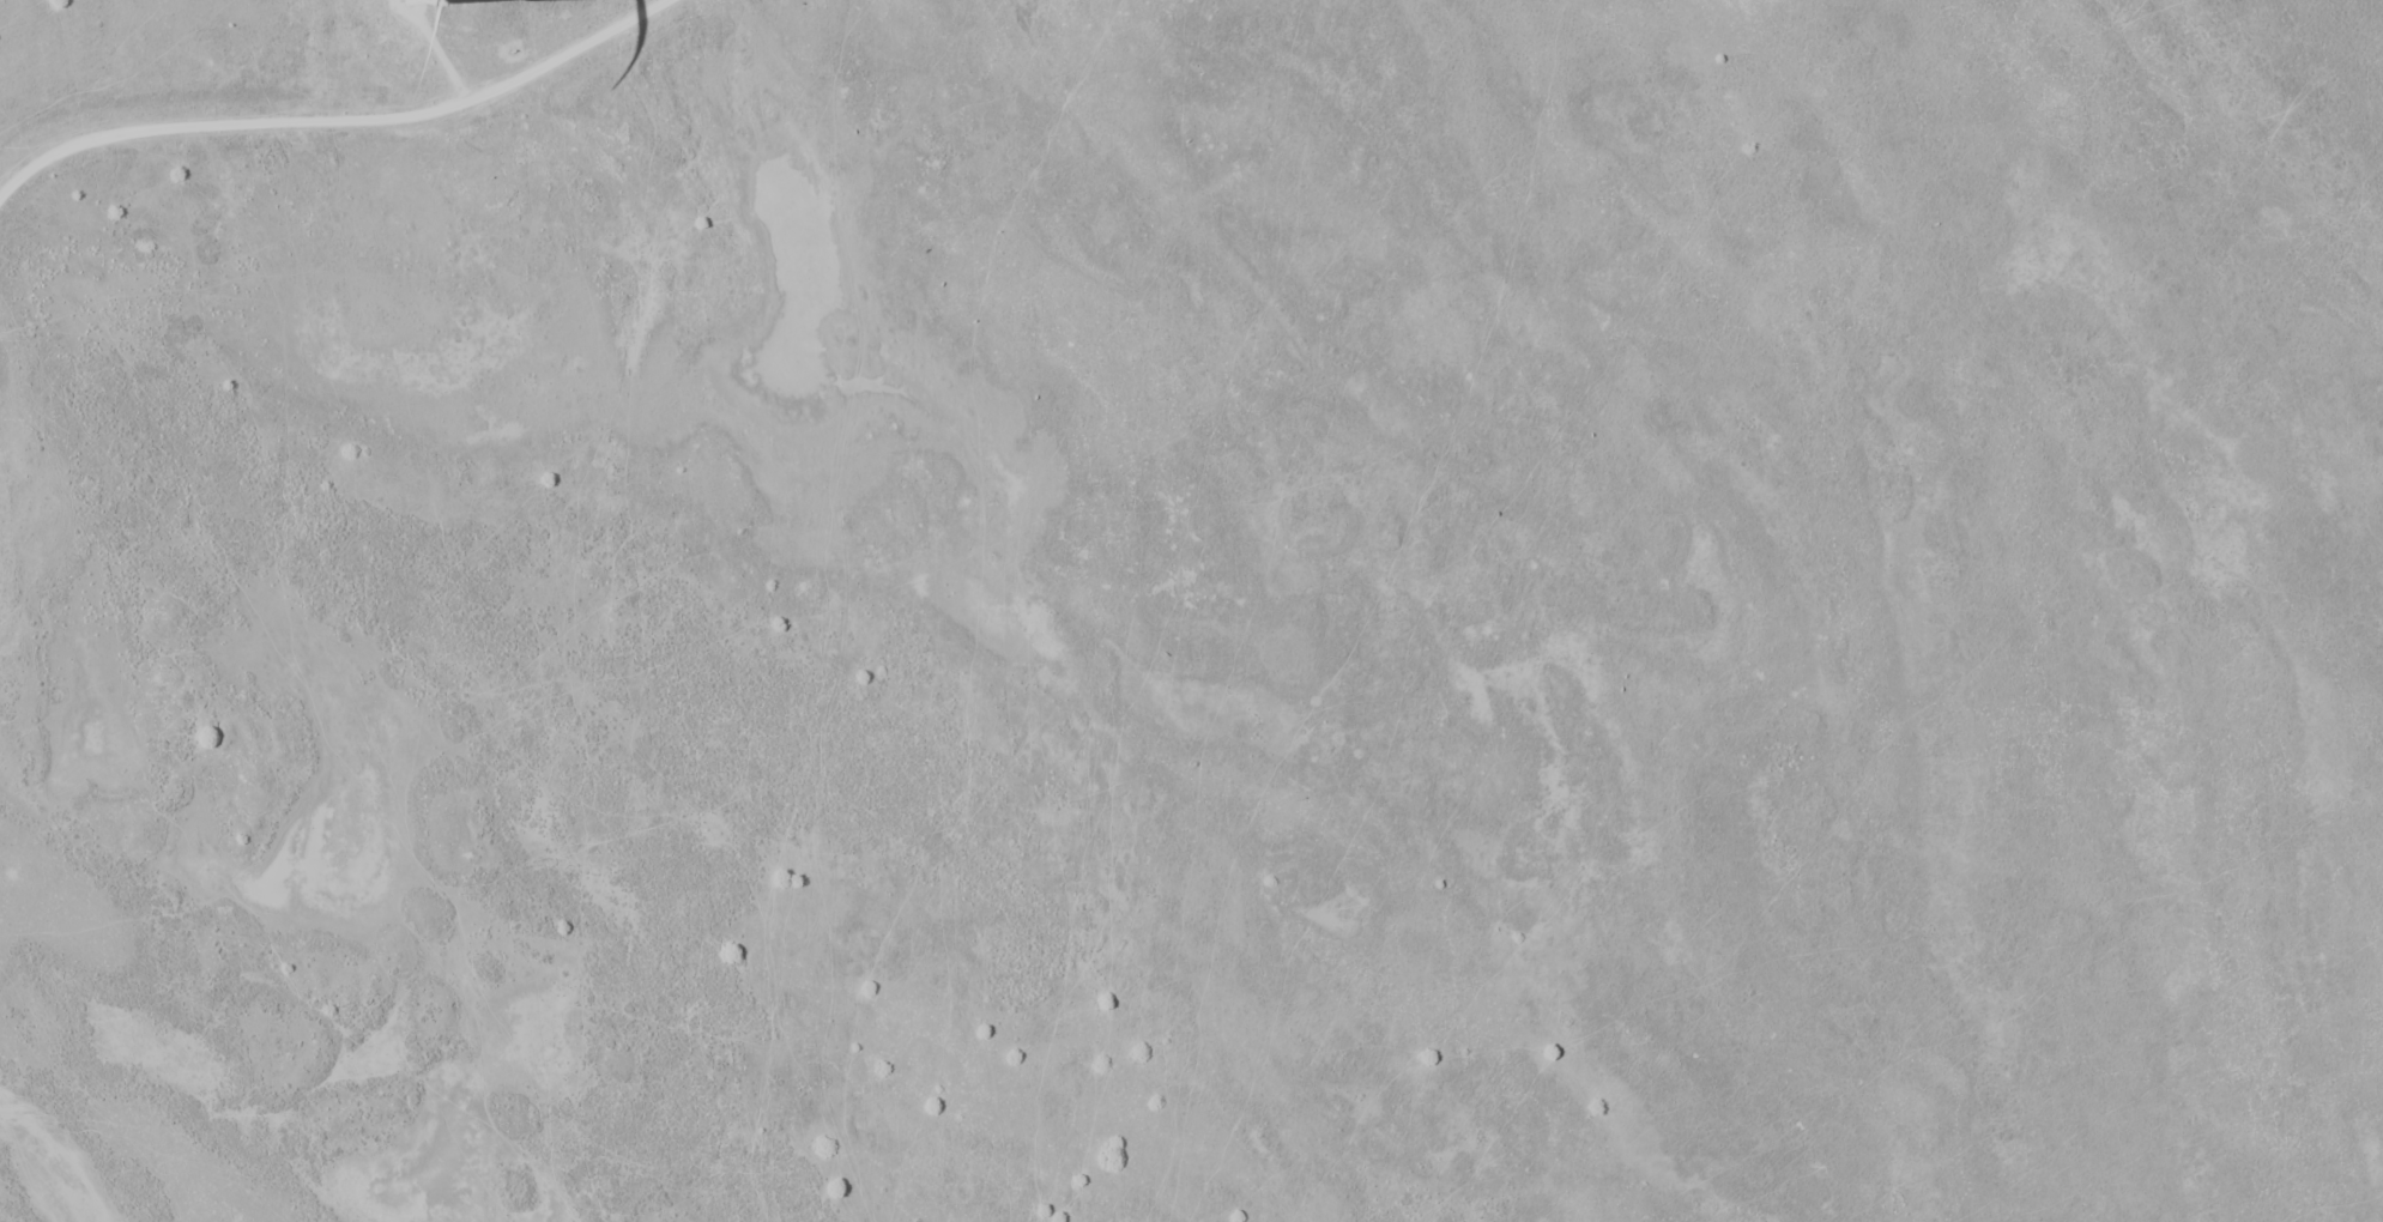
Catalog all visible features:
wind turbine: (422, 4)

